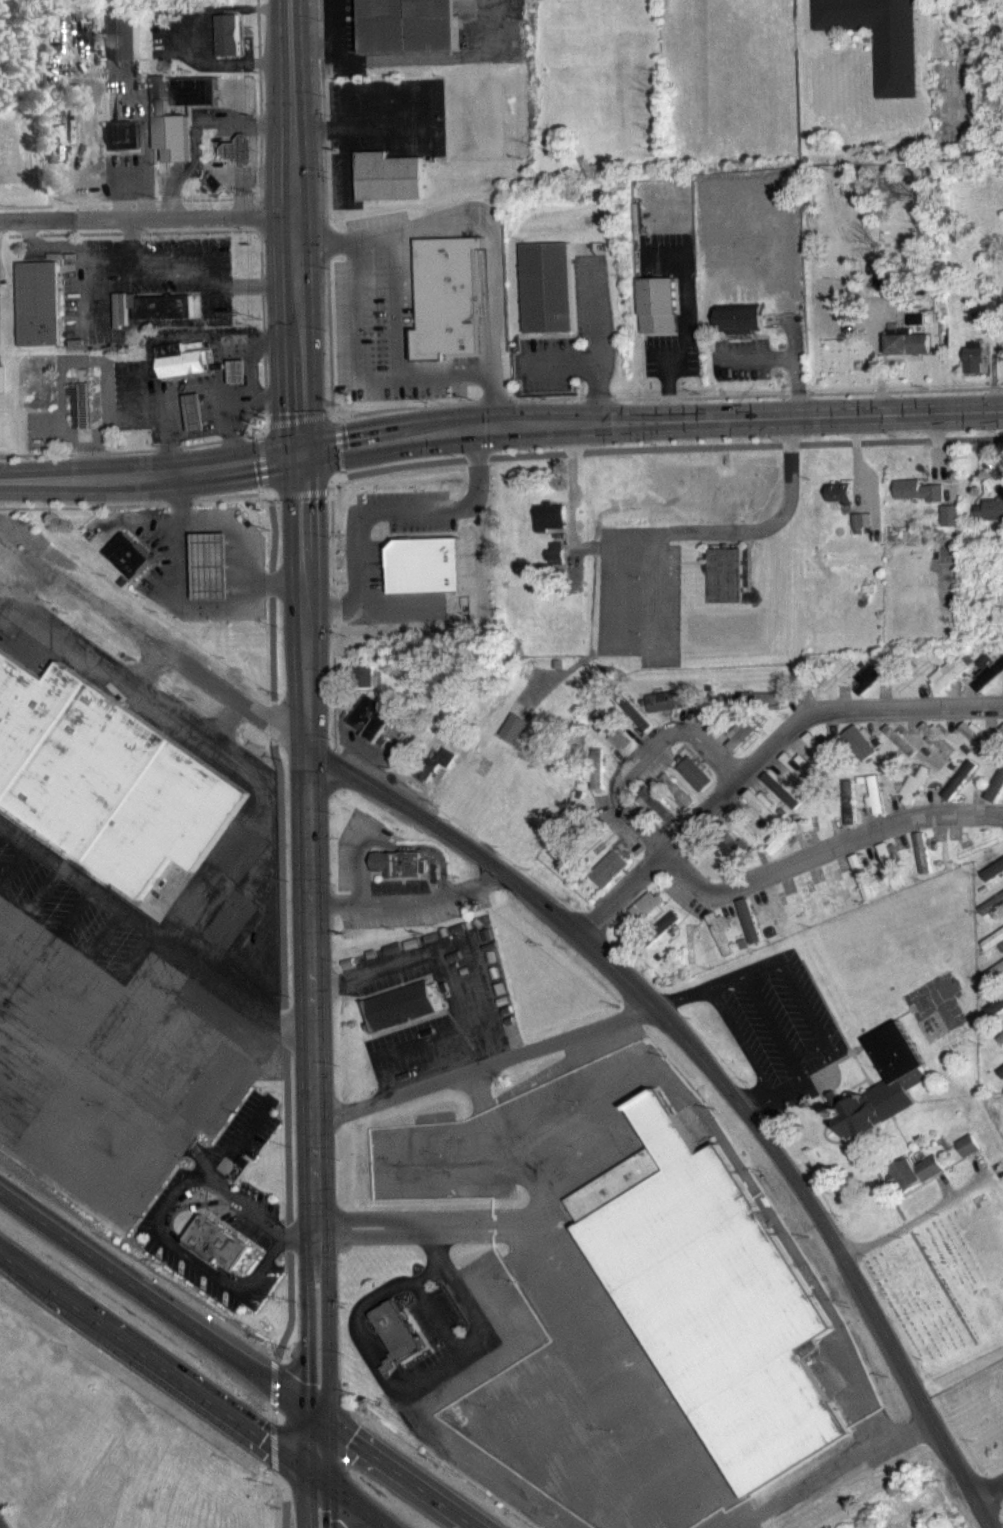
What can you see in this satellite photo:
building: (416, 26)
road: (333, 29)
building: (877, 41)
building: (227, 46)
road: (194, 47)
building: (124, 48)
road: (421, 68)
road: (967, 124)
building: (169, 138)
building: (389, 176)
building: (213, 194)
parking lot: (376, 219)
road: (149, 220)
road: (490, 228)
parking lot: (409, 279)
building: (549, 285)
building: (447, 296)
road: (483, 299)
parking lot: (373, 309)
building: (39, 314)
building: (658, 316)
parking lot: (340, 323)
building: (741, 329)
building: (914, 329)
road: (599, 347)
building: (905, 353)
building: (188, 359)
parking lot: (464, 360)
building: (975, 369)
building: (180, 372)
road: (301, 372)
gas station: (245, 373)
road: (444, 376)
road: (380, 377)
building: (238, 383)
parking lot: (408, 390)
building: (88, 405)
road: (328, 412)
gas station: (202, 413)
road: (297, 419)
road: (338, 419)
road: (267, 424)
road: (499, 426)
road: (258, 435)
road: (338, 448)
road: (658, 449)
traffic signals: (301, 453)
road: (264, 488)
road: (302, 492)
road: (274, 495)
building: (917, 501)
building: (840, 504)
building: (990, 520)
building: (949, 526)
building: (548, 527)
road: (751, 529)
road: (237, 533)
building: (860, 533)
building: (130, 553)
building: (211, 564)
gas station: (211, 564)
building: (554, 564)
building: (431, 566)
building: (724, 586)
road: (333, 627)
building: (985, 671)
building: (948, 685)
building: (364, 686)
building: (873, 686)
building: (989, 688)
road: (235, 698)
building: (765, 708)
building: (669, 711)
building: (635, 724)
building: (719, 726)
building: (369, 728)
building: (514, 739)
building: (1002, 740)
building: (612, 741)
building: (977, 747)
building: (938, 748)
road: (640, 750)
building: (901, 751)
building: (861, 754)
road: (766, 757)
building: (819, 759)
building: (433, 773)
building: (800, 779)
building: (596, 781)
building: (109, 783)
building: (696, 785)
building: (960, 790)
building: (915, 797)
building: (678, 801)
building: (782, 801)
building: (876, 806)
building: (850, 813)
building: (659, 816)
building: (764, 818)
parking lot: (385, 830)
building: (743, 838)
parking lot: (346, 847)
road: (826, 847)
road: (432, 849)
road: (359, 859)
building: (397, 862)
building: (923, 864)
building: (736, 865)
building: (891, 876)
building: (609, 879)
parking lot: (386, 884)
parking lot: (414, 884)
building: (863, 887)
road: (433, 898)
road: (335, 903)
road: (129, 914)
parking lot: (383, 920)
building: (645, 921)
road: (283, 928)
building: (667, 935)
building: (722, 946)
building: (993, 951)
road: (444, 969)
road: (484, 978)
building: (995, 982)
building: (405, 1003)
road: (261, 1010)
road: (770, 1012)
building: (994, 1018)
road: (285, 1026)
building: (1000, 1049)
road: (707, 1062)
road: (485, 1065)
road: (224, 1078)
building: (1000, 1083)
building: (886, 1095)
road: (313, 1112)
parking lot: (238, 1118)
road: (246, 1132)
parking lot: (262, 1135)
road: (205, 1156)
building: (968, 1156)
building: (915, 1183)
road: (199, 1187)
parking lot: (260, 1197)
road: (917, 1218)
parking lot: (240, 1222)
parking lot: (143, 1225)
road: (376, 1226)
road: (160, 1227)
parking lot: (110, 1234)
road: (296, 1236)
road: (180, 1238)
building: (218, 1242)
road: (429, 1273)
parking lot: (192, 1274)
road: (460, 1293)
parking lot: (253, 1302)
parking lot: (447, 1306)
road: (439, 1319)
parking lot: (423, 1321)
building: (395, 1332)
road: (388, 1349)
parking lot: (436, 1355)
road: (368, 1357)
road: (238, 1358)
road: (380, 1364)
road: (159, 1365)
road: (274, 1381)
road: (272, 1412)
traffic signals: (320, 1417)
road: (273, 1445)
traffic signals: (318, 1479)
road: (990, 1491)
road: (286, 1495)
road: (318, 1503)
road: (353, 1503)
road: (985, 1513)
road: (1, 1526)

